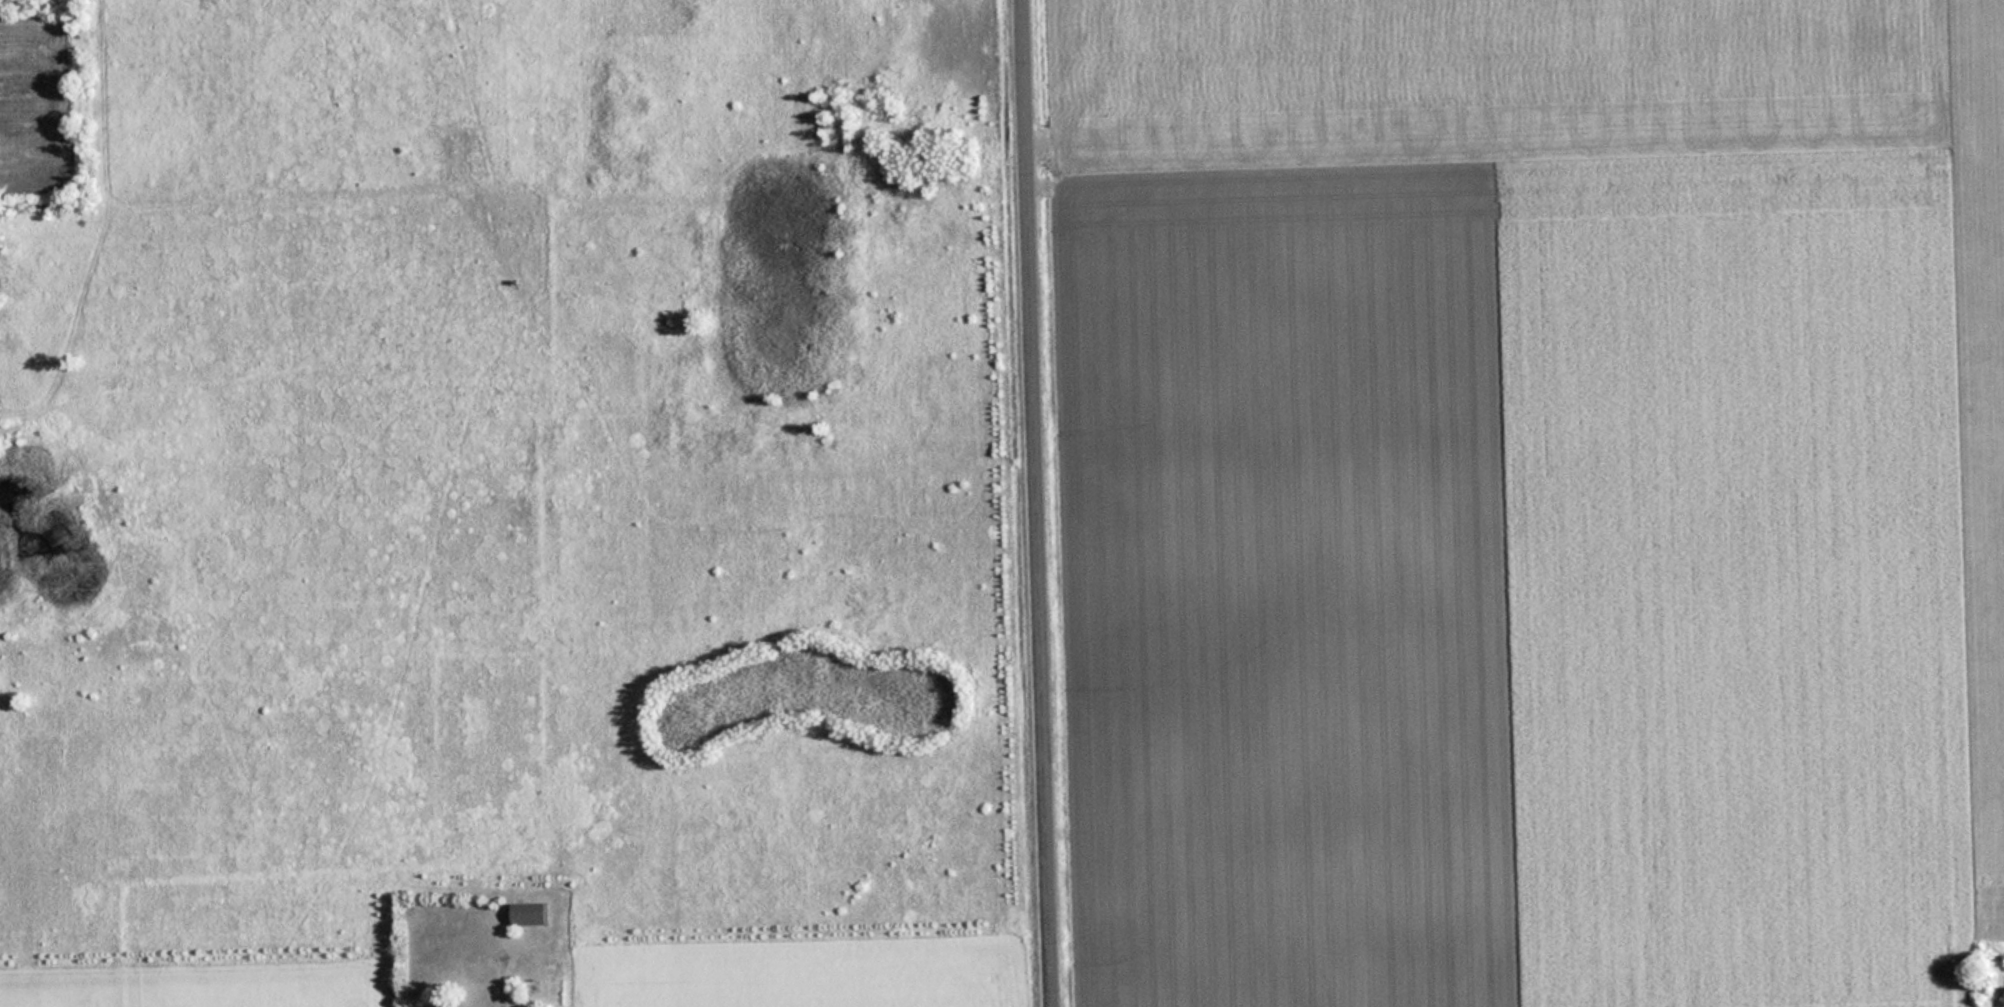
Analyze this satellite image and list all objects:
road: (1036, 503)
building: (530, 914)
building: (533, 991)

